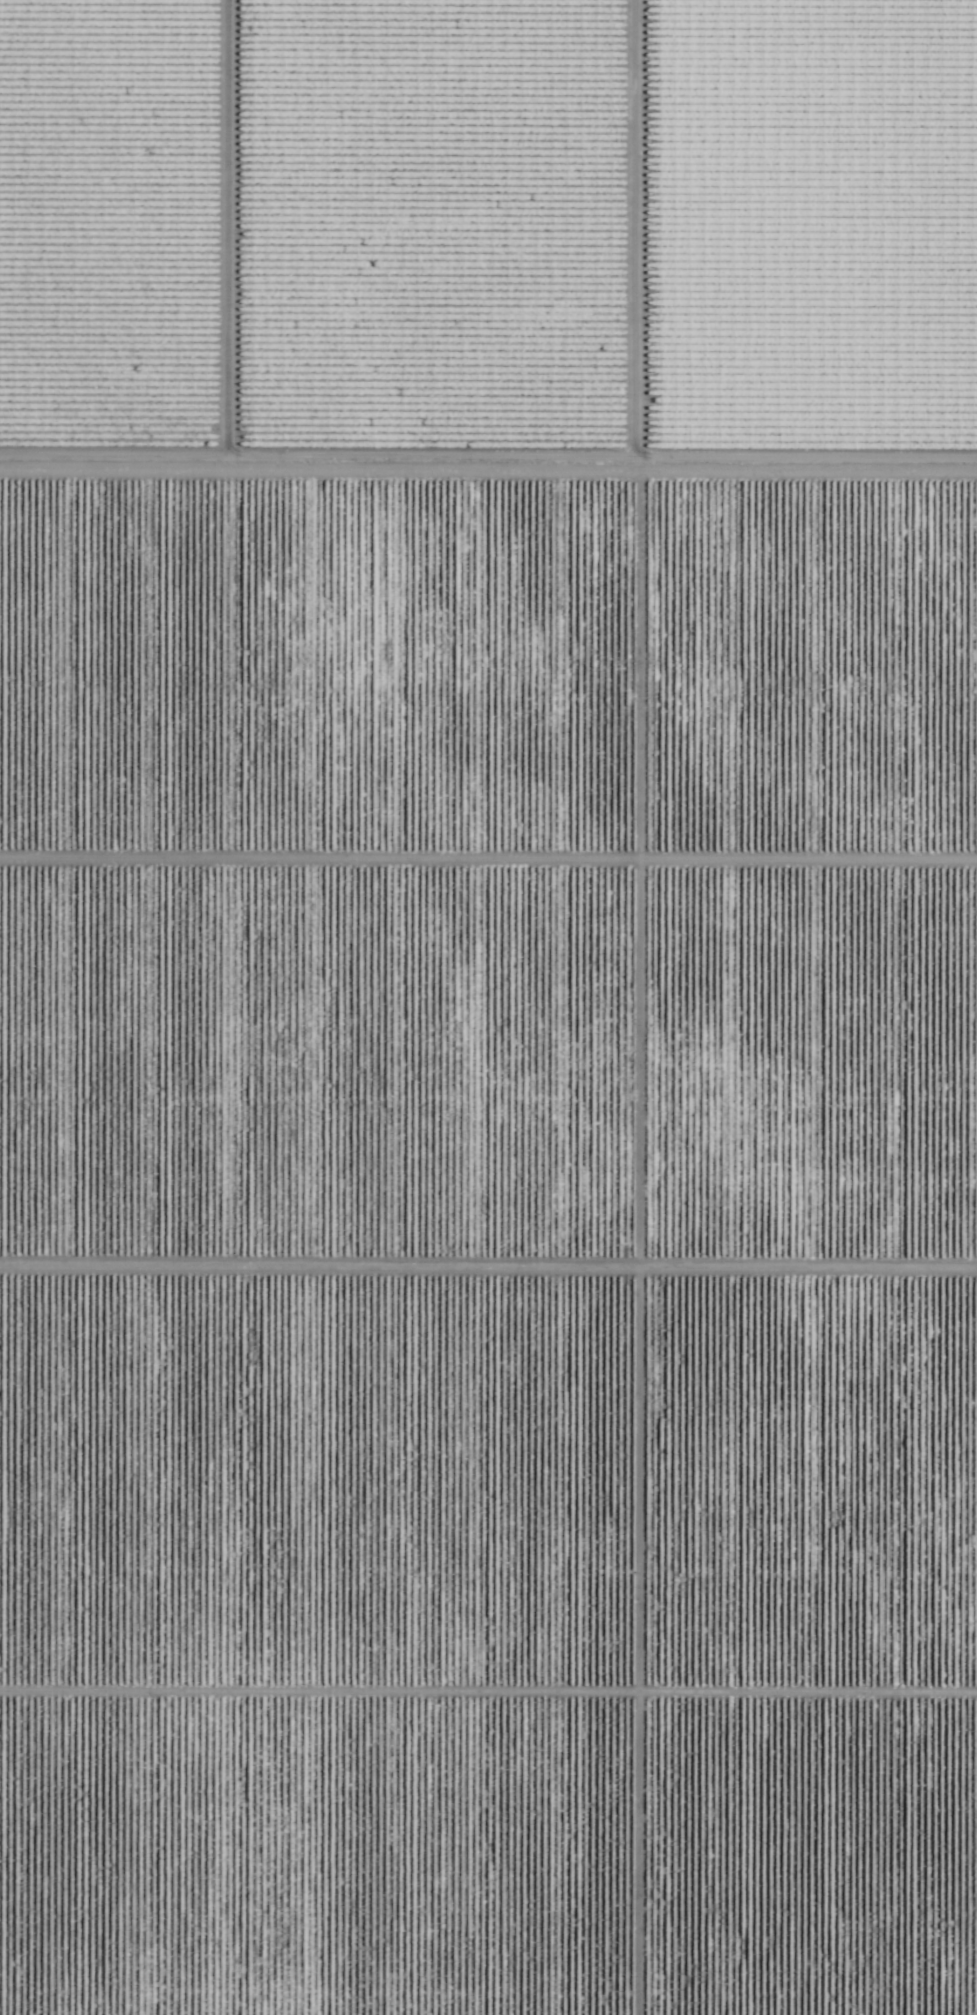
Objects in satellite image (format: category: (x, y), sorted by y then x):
road: (488, 496)
road: (420, 994)
crop: (488, 1007)

